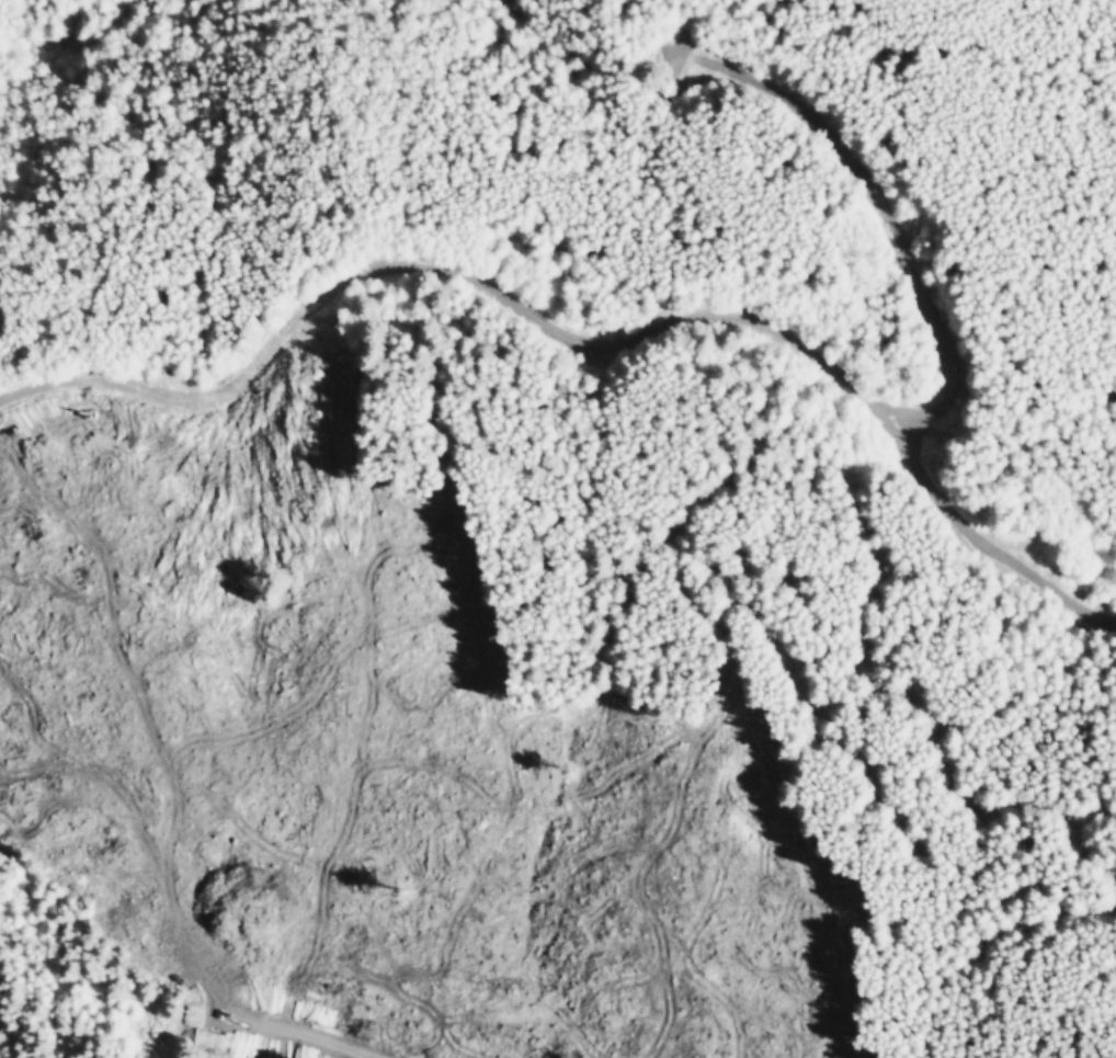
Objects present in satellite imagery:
road: (893, 214)
road: (578, 338)

